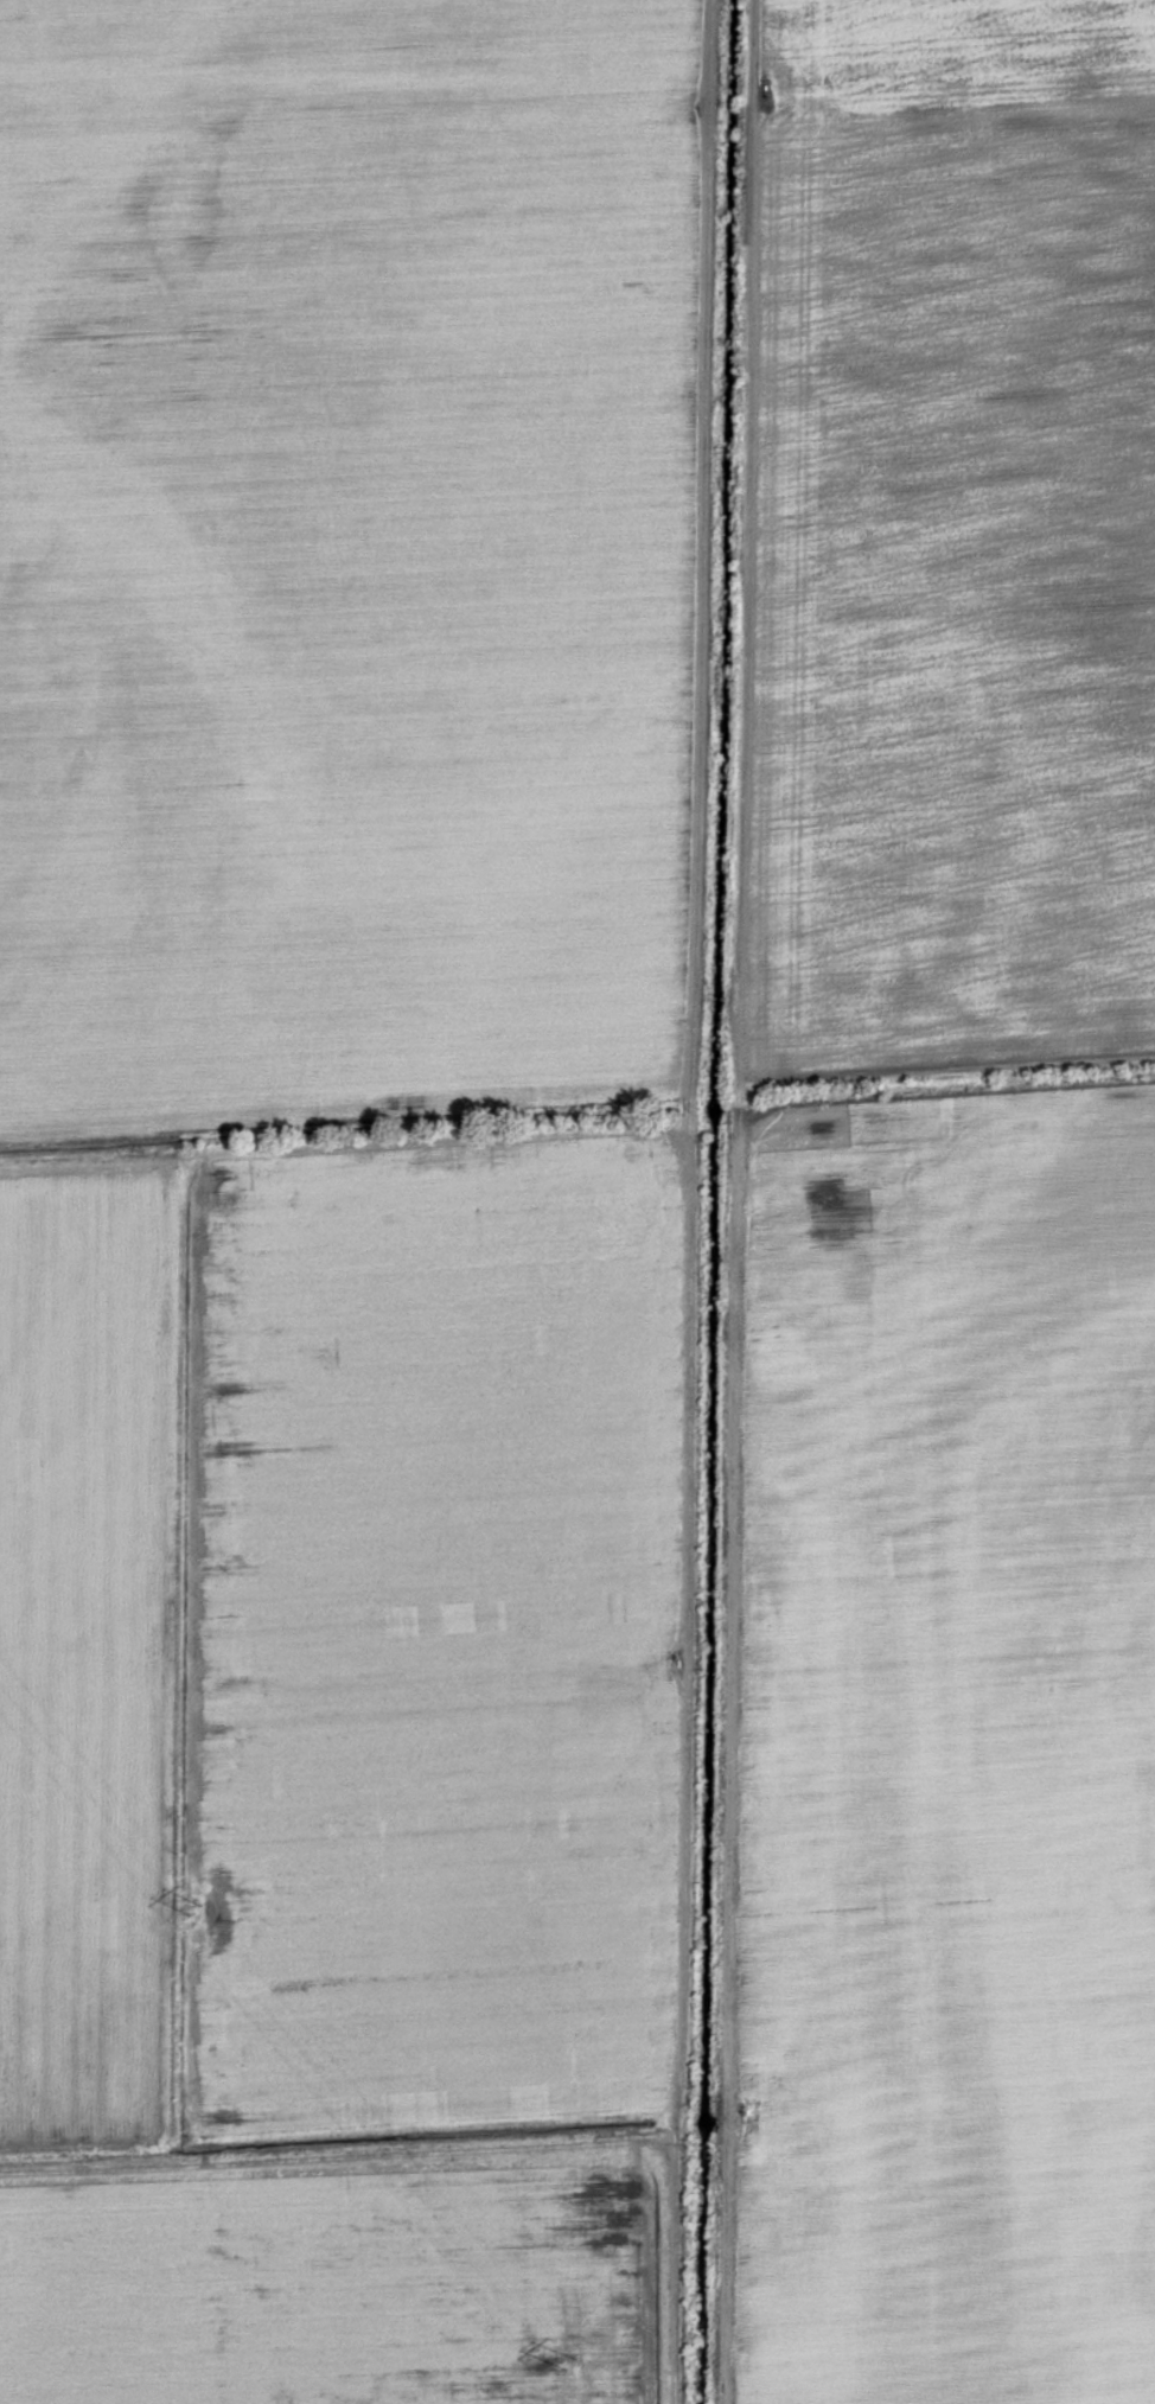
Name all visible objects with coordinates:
power tower: (196, 1908)
power tower: (569, 2365)

